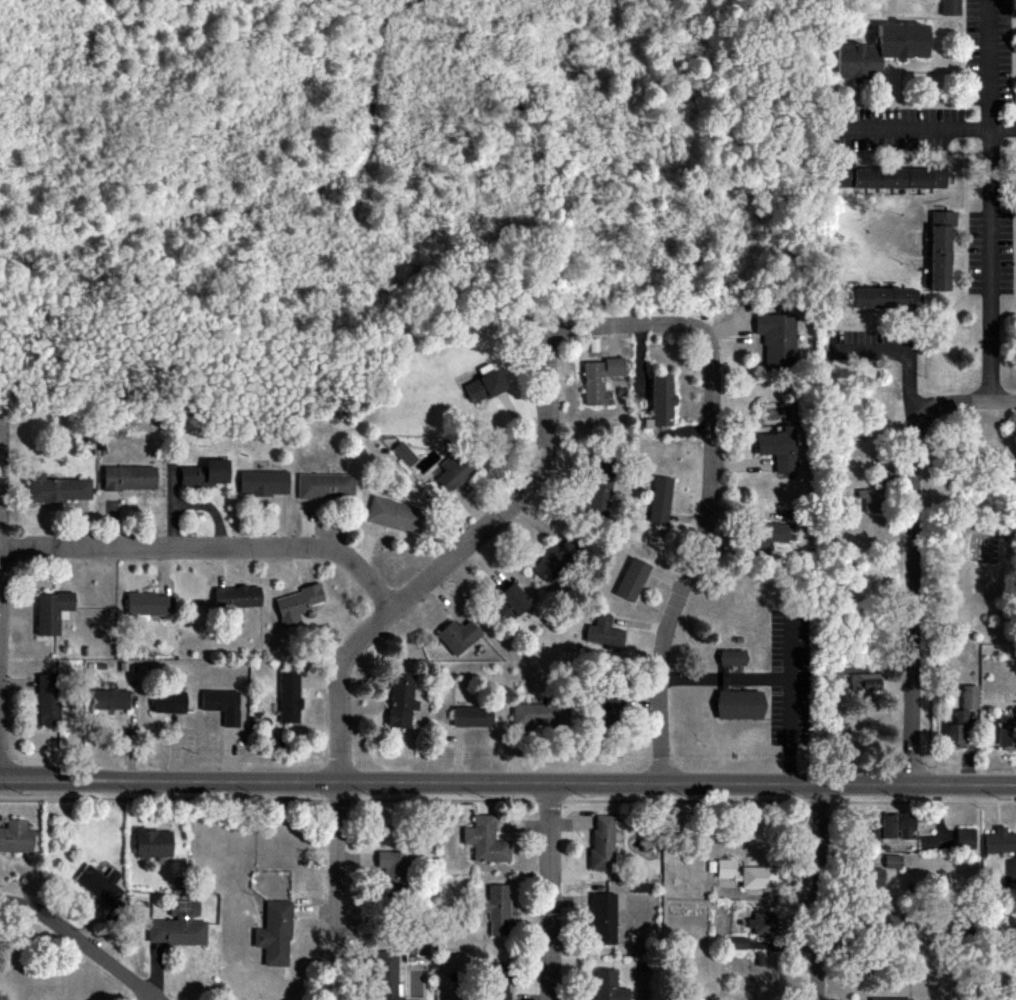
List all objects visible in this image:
building: (949, 8)
building: (881, 50)
road: (926, 131)
building: (891, 177)
road: (990, 202)
building: (939, 249)
building: (877, 299)
road: (625, 327)
building: (777, 339)
road: (906, 353)
building: (598, 378)
building: (483, 386)
building: (661, 401)
road: (1003, 404)
building: (778, 449)
building: (453, 471)
building: (204, 473)
building: (127, 478)
building: (261, 484)
building: (324, 485)
building: (56, 489)
building: (599, 495)
building: (659, 500)
building: (870, 502)
building: (393, 515)
building: (765, 537)
road: (0, 541)
road: (210, 547)
building: (552, 561)
road: (697, 561)
road: (915, 567)
building: (631, 580)
building: (236, 597)
building: (145, 603)
building: (508, 603)
building: (295, 605)
building: (51, 612)
building: (603, 632)
road: (371, 636)
building: (458, 636)
building: (731, 658)
building: (864, 685)
building: (289, 697)
building: (968, 698)
building: (46, 699)
building: (108, 700)
building: (401, 701)
building: (167, 702)
road: (791, 702)
building: (221, 705)
building: (739, 705)
building: (606, 708)
building: (534, 715)
building: (471, 716)
building: (957, 731)
building: (1007, 732)
road: (508, 785)
building: (895, 827)
building: (15, 837)
building: (965, 839)
building: (484, 841)
building: (999, 842)
building: (152, 843)
building: (602, 843)
building: (891, 862)
building: (392, 869)
building: (724, 869)
building: (758, 878)
building: (873, 879)
building: (99, 885)
road: (549, 892)
road: (819, 893)
building: (497, 909)
building: (602, 918)
building: (889, 923)
building: (762, 924)
building: (177, 926)
building: (274, 934)
road: (80, 944)
building: (737, 944)
building: (410, 953)
building: (386, 975)
building: (496, 981)
building: (607, 986)
road: (146, 997)
building: (891, 999)

